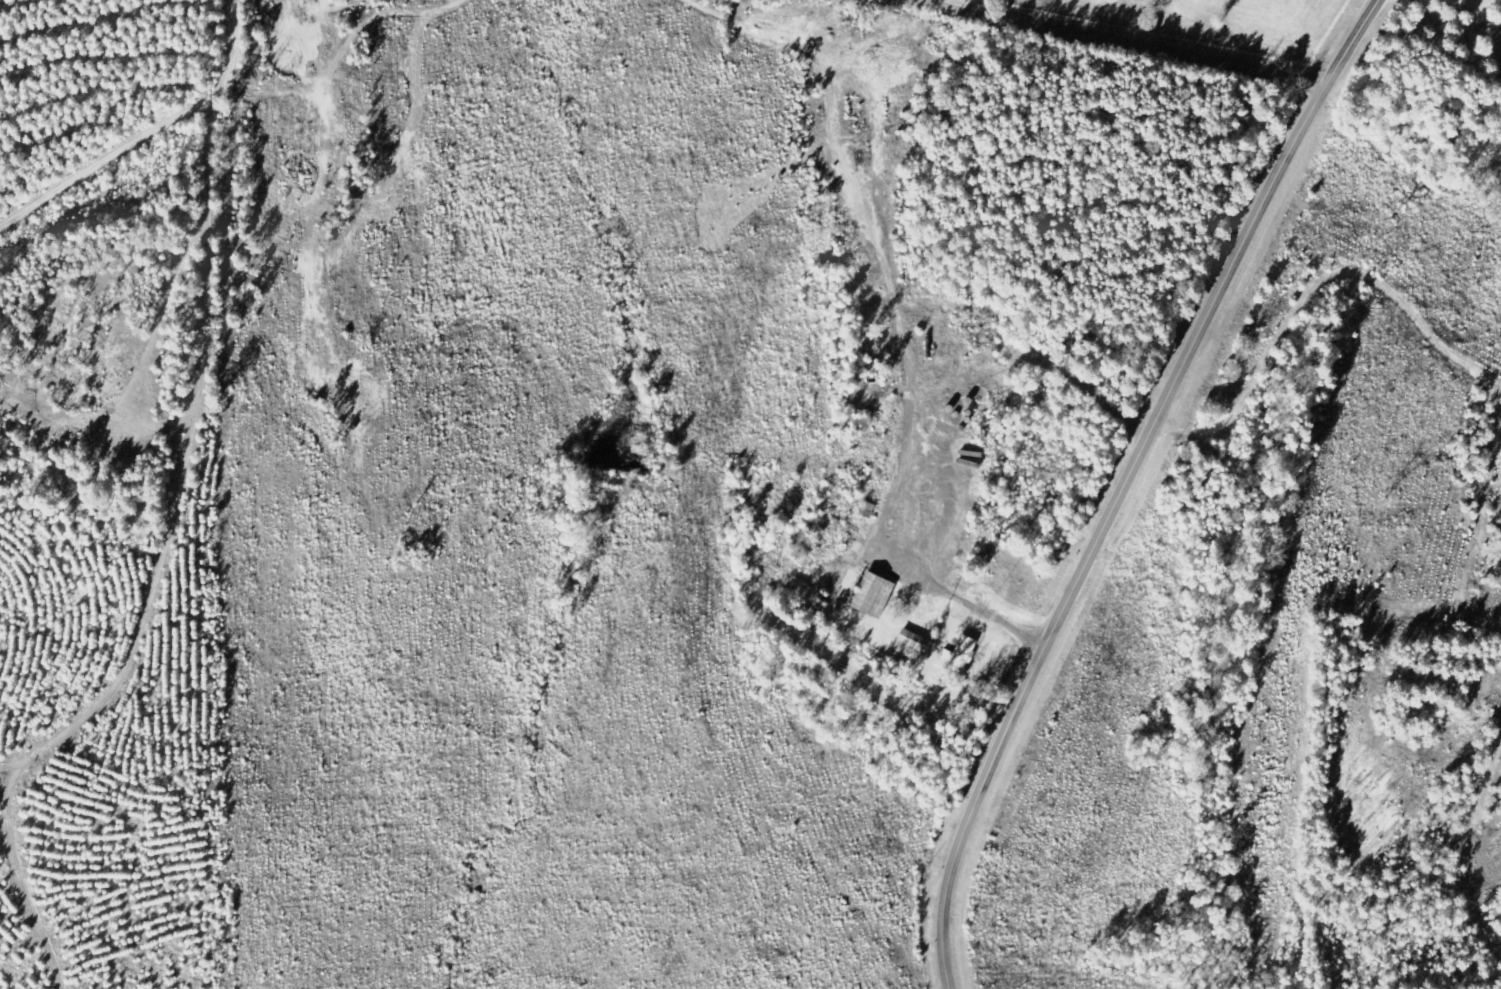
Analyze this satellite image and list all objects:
road: (1142, 35)
road: (137, 125)
road: (1128, 482)
building: (876, 595)
road: (971, 603)
building: (915, 642)
building: (962, 653)

